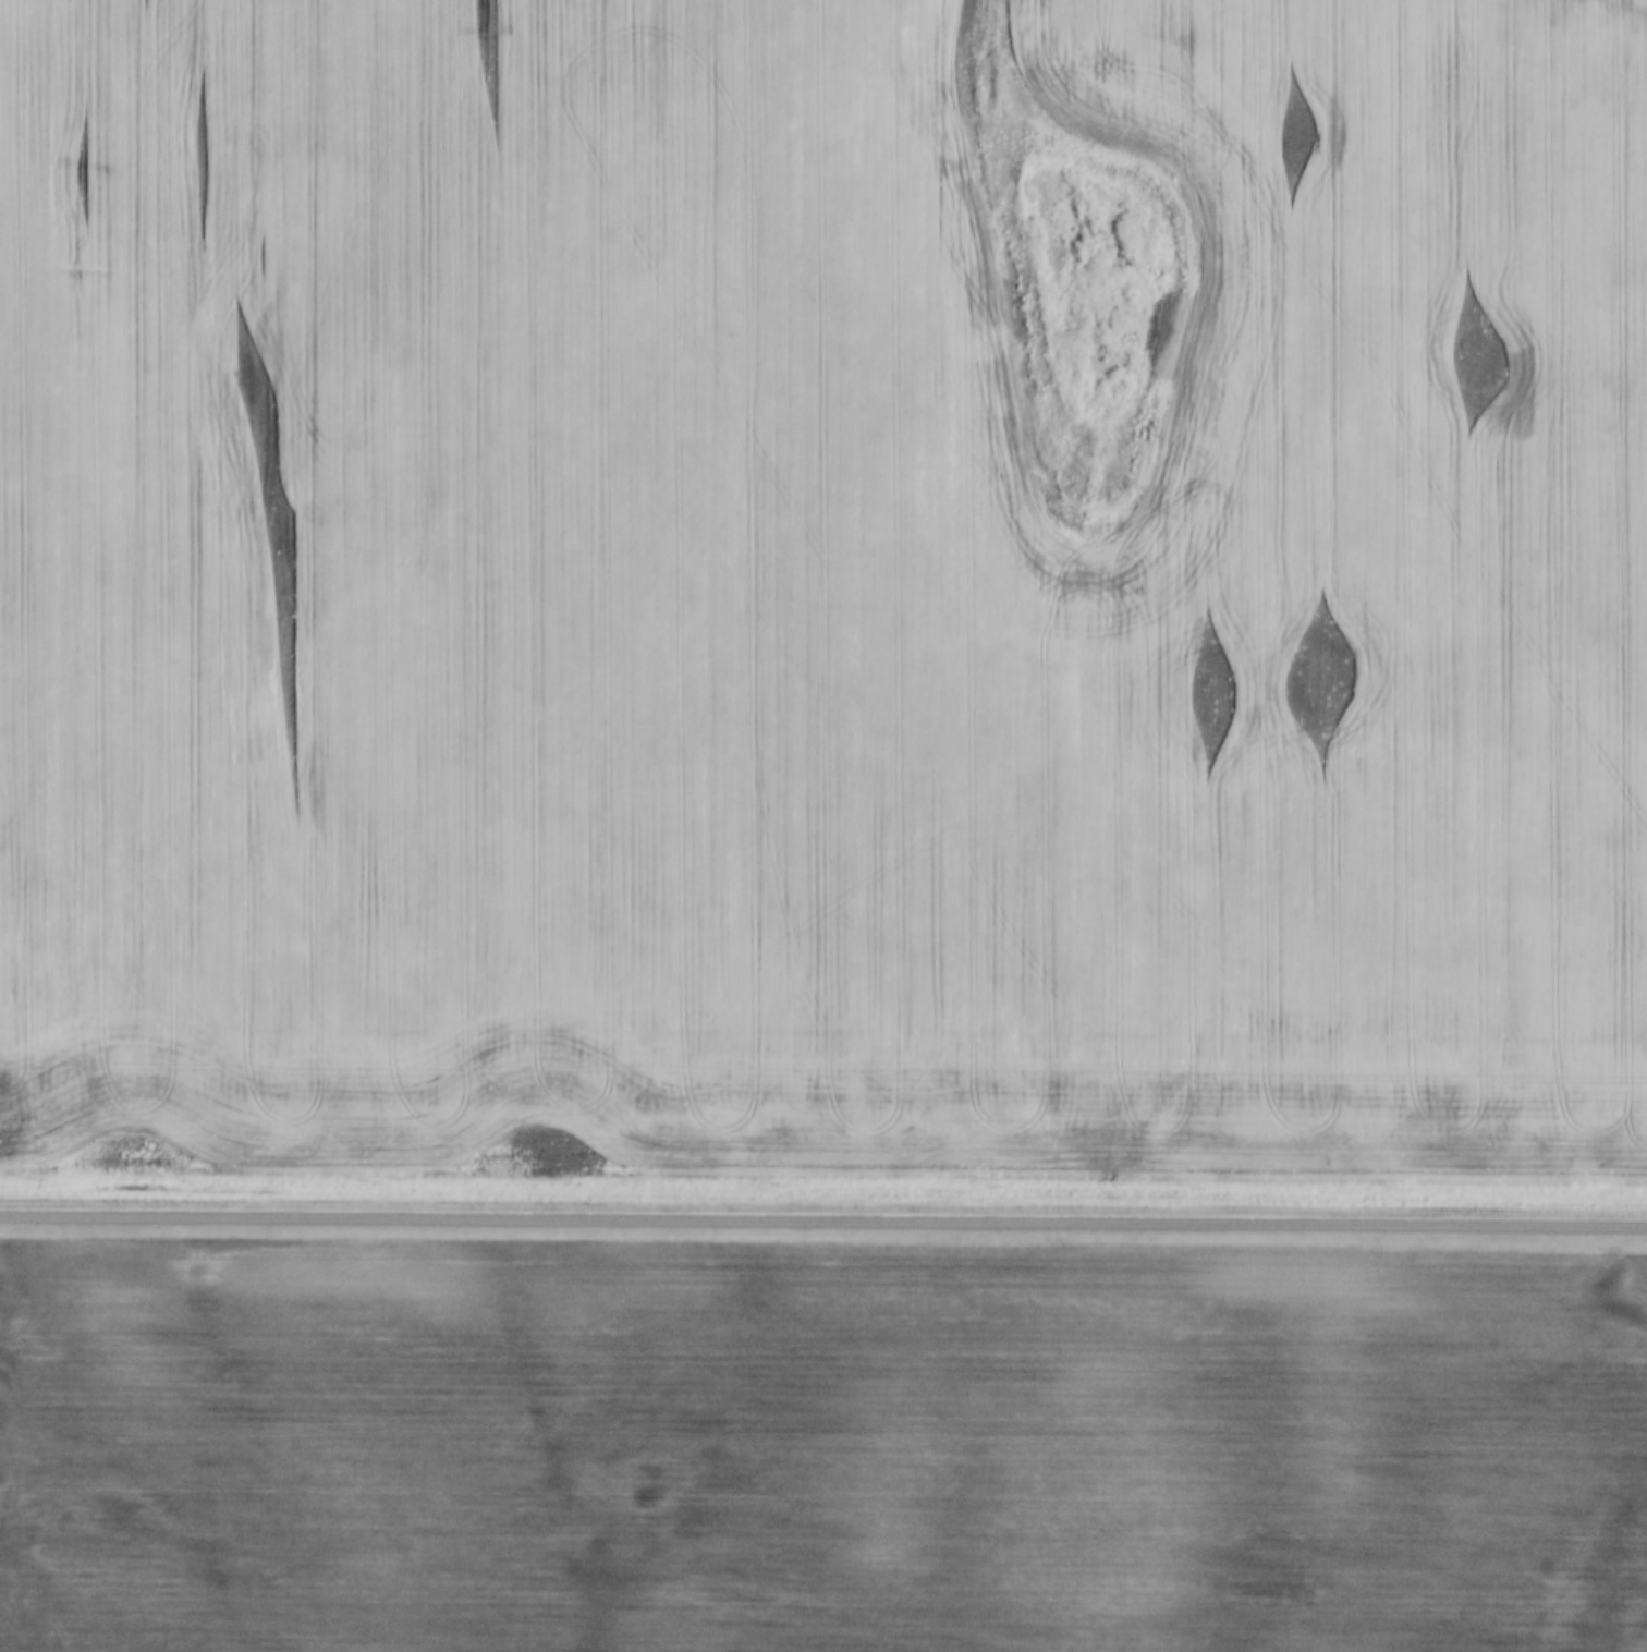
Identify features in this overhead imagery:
road: (822, 1225)

